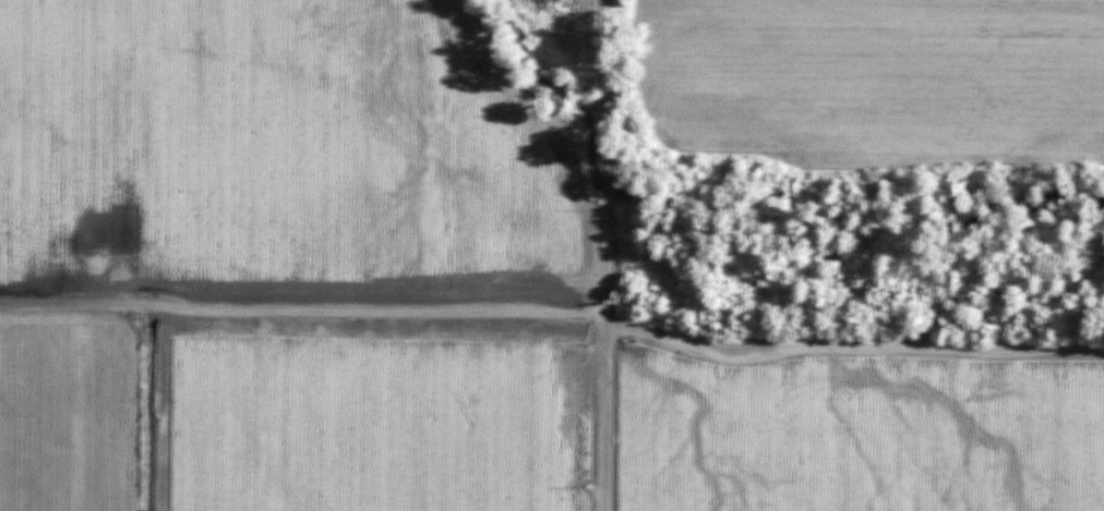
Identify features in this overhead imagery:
road: (611, 255)

